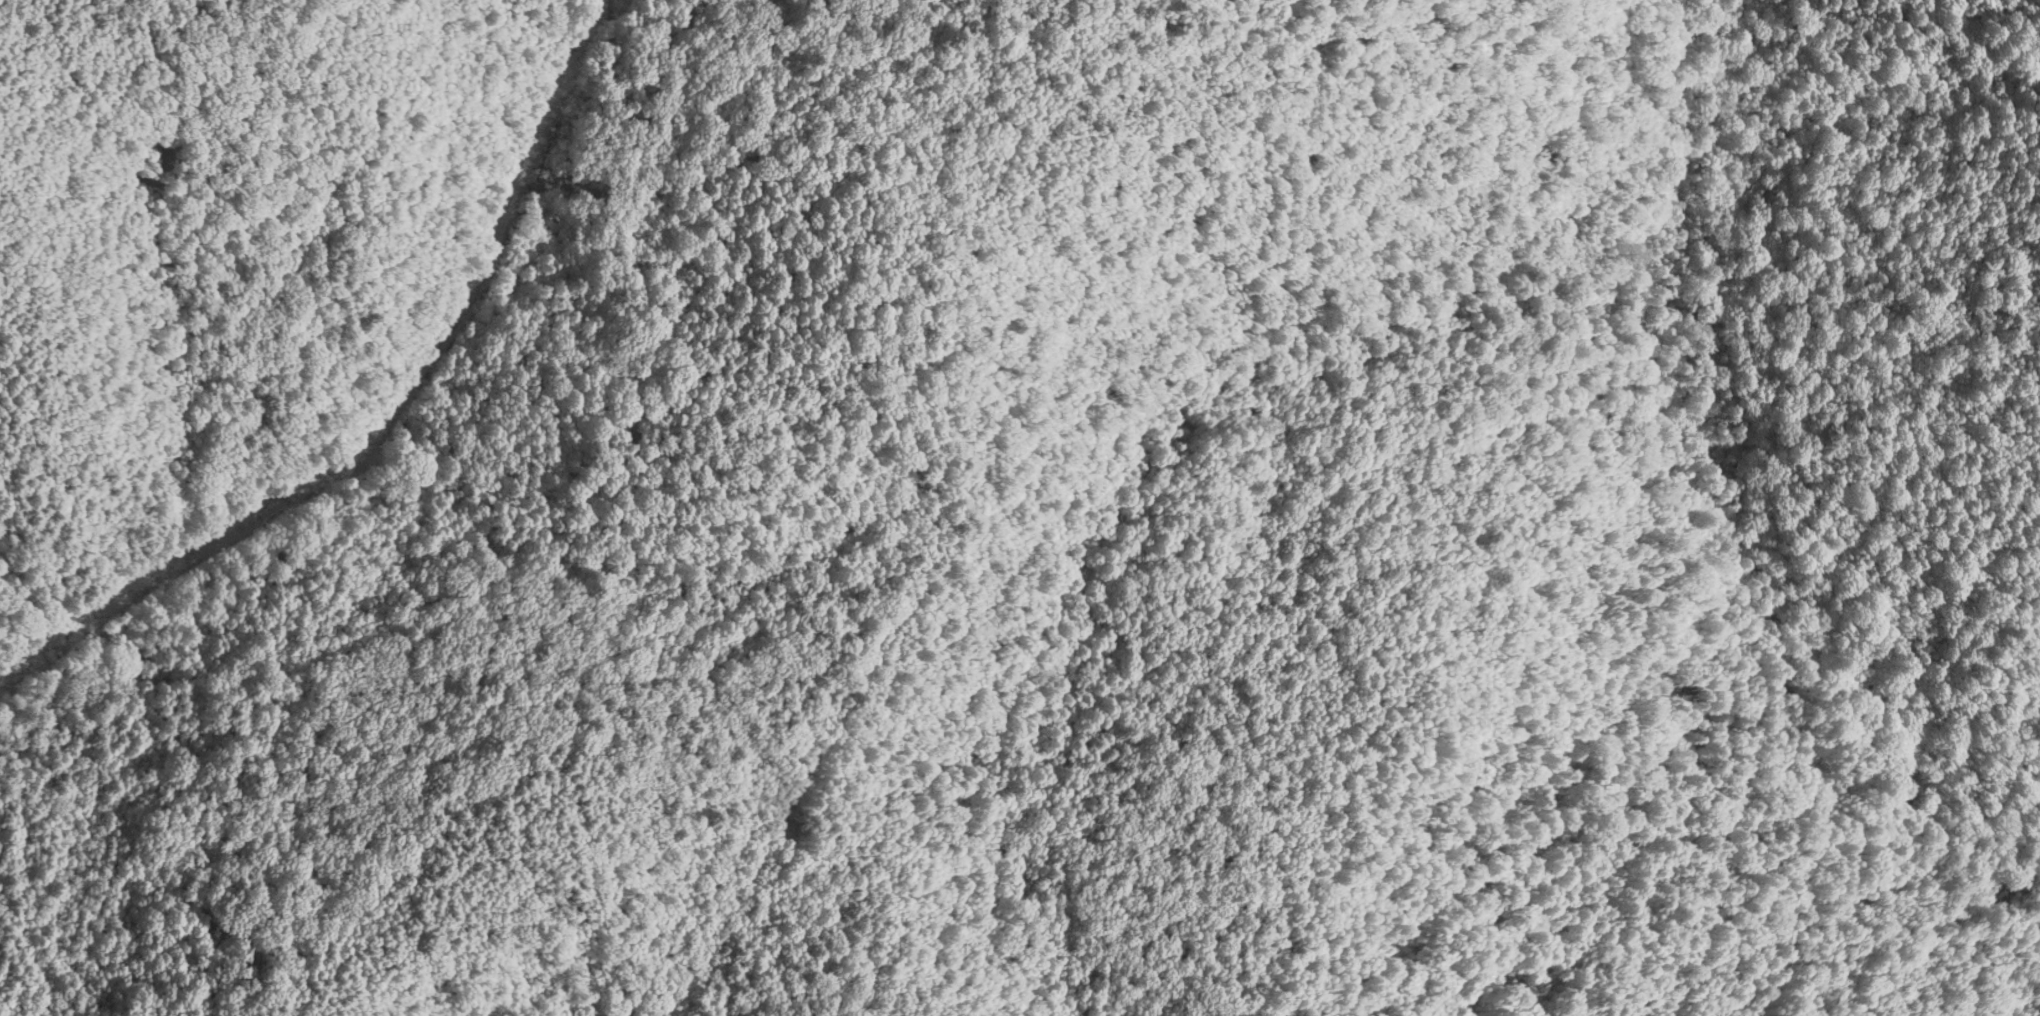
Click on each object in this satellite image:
park: (818, 77)

